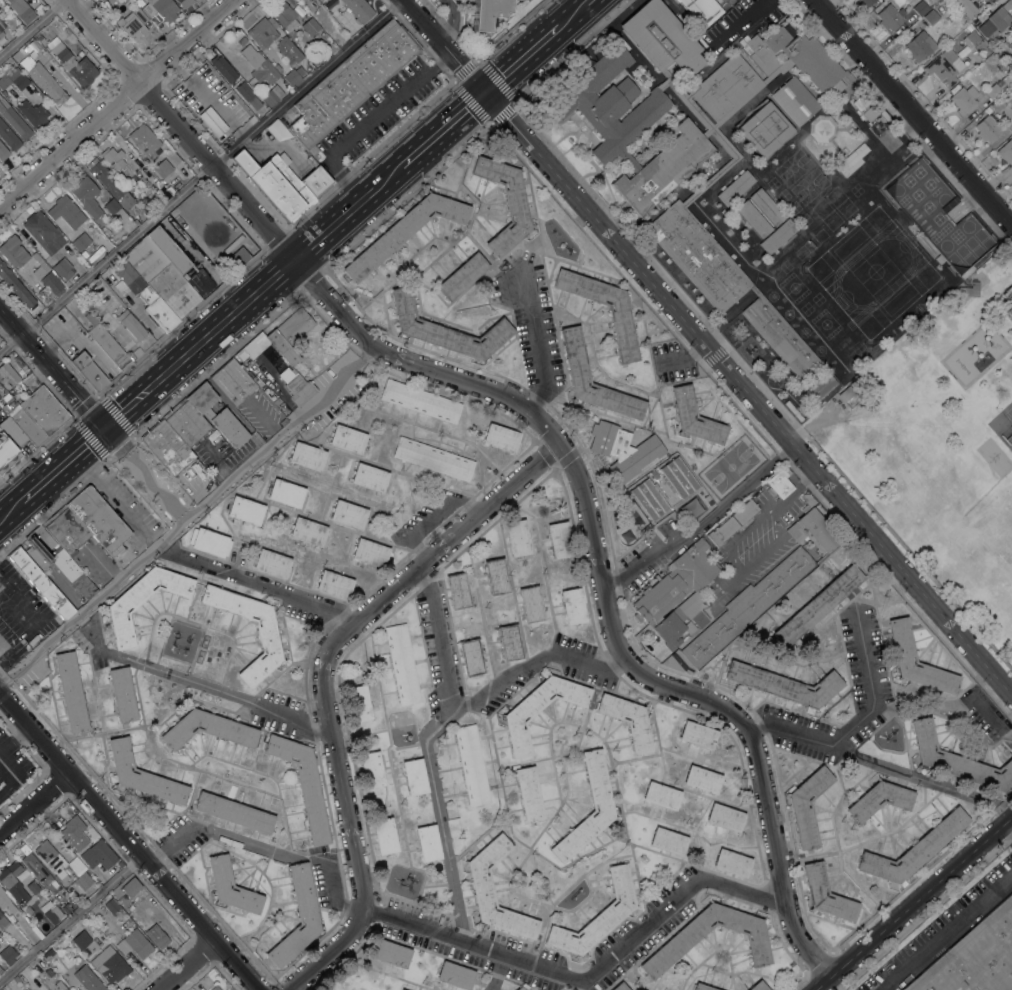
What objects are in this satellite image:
building: (101, 0)
building: (321, 0)
building: (858, 0)
building: (978, 0)
building: (179, 1)
building: (140, 2)
building: (867, 2)
building: (1007, 4)
building: (922, 7)
building: (965, 7)
building: (164, 9)
building: (358, 9)
building: (21, 10)
building: (702, 10)
building: (486, 13)
road: (573, 14)
building: (284, 15)
building: (890, 17)
building: (930, 18)
road: (742, 22)
building: (994, 23)
building: (133, 24)
building: (2, 25)
building: (56, 26)
road: (31, 27)
building: (310, 27)
building: (262, 33)
building: (972, 37)
building: (2, 38)
building: (661, 38)
building: (41, 39)
building: (239, 44)
building: (919, 46)
building: (31, 47)
building: (795, 58)
building: (291, 61)
road: (520, 61)
building: (72, 63)
building: (1000, 64)
building: (220, 65)
building: (259, 66)
building: (944, 67)
building: (778, 70)
building: (1009, 76)
building: (13, 79)
building: (694, 79)
building: (43, 80)
building: (351, 82)
building: (726, 89)
building: (995, 90)
building: (1008, 92)
building: (273, 96)
building: (964, 100)
building: (253, 101)
building: (794, 101)
building: (859, 102)
road: (117, 103)
building: (610, 104)
building: (999, 104)
building: (988, 111)
building: (32, 113)
building: (869, 113)
road: (914, 113)
building: (14, 120)
building: (212, 121)
road: (368, 122)
building: (987, 129)
road: (442, 130)
building: (764, 130)
building: (717, 136)
building: (8, 137)
building: (145, 142)
building: (1006, 151)
building: (3, 152)
building: (629, 160)
building: (851, 160)
building: (116, 163)
building: (162, 168)
building: (664, 168)
road: (197, 175)
road: (386, 178)
building: (110, 183)
building: (282, 184)
building: (735, 188)
building: (86, 196)
building: (146, 203)
building: (514, 203)
building: (189, 204)
building: (140, 206)
building: (766, 207)
building: (69, 210)
building: (115, 211)
building: (938, 217)
building: (64, 218)
building: (753, 219)
building: (209, 220)
road: (332, 225)
building: (404, 231)
building: (107, 232)
building: (43, 233)
building: (777, 236)
building: (81, 241)
building: (168, 250)
building: (13, 252)
building: (84, 254)
building: (698, 256)
building: (239, 257)
building: (37, 259)
building: (62, 269)
road: (274, 276)
building: (462, 276)
building: (15, 286)
building: (50, 287)
building: (970, 290)
building: (173, 291)
building: (754, 291)
building: (143, 296)
building: (1008, 301)
building: (131, 325)
building: (446, 330)
building: (622, 333)
building: (779, 336)
road: (206, 337)
building: (280, 338)
building: (107, 343)
road: (537, 346)
road: (706, 348)
building: (574, 356)
road: (686, 358)
road: (52, 368)
building: (88, 371)
building: (8, 376)
building: (233, 382)
building: (297, 386)
building: (820, 387)
building: (846, 394)
building: (420, 401)
road: (131, 405)
building: (43, 410)
building: (283, 410)
building: (792, 411)
park: (1008, 414)
building: (216, 416)
building: (694, 417)
building: (22, 422)
building: (185, 425)
road: (545, 426)
building: (12, 433)
building: (500, 438)
building: (347, 439)
park: (940, 442)
road: (88, 444)
building: (166, 448)
building: (622, 450)
building: (306, 456)
building: (432, 459)
road: (144, 475)
building: (369, 478)
building: (678, 478)
road: (48, 480)
building: (779, 483)
building: (286, 493)
building: (649, 498)
road: (114, 502)
building: (245, 511)
road: (12, 512)
building: (745, 512)
building: (348, 515)
road: (189, 516)
building: (98, 520)
road: (700, 524)
building: (812, 527)
building: (66, 531)
building: (722, 531)
building: (307, 532)
building: (517, 538)
building: (559, 540)
building: (209, 542)
building: (370, 553)
building: (56, 560)
building: (272, 563)
building: (496, 576)
road: (255, 583)
building: (40, 584)
building: (334, 584)
building: (674, 587)
building: (457, 591)
building: (142, 601)
building: (530, 605)
building: (817, 606)
building: (572, 607)
building: (739, 612)
building: (693, 613)
road: (33, 630)
building: (671, 631)
building: (267, 637)
road: (95, 638)
building: (900, 641)
building: (509, 643)
building: (655, 649)
building: (471, 658)
building: (402, 664)
road: (185, 679)
road: (321, 683)
building: (784, 685)
building: (70, 692)
building: (122, 695)
road: (477, 698)
building: (358, 703)
road: (943, 703)
building: (538, 710)
road: (290, 716)
building: (627, 721)
road: (858, 721)
building: (207, 730)
building: (697, 735)
building: (956, 760)
building: (471, 765)
road: (893, 769)
building: (371, 770)
road: (10, 771)
building: (141, 775)
building: (414, 777)
building: (702, 780)
building: (596, 781)
building: (303, 785)
building: (528, 794)
building: (661, 796)
building: (879, 800)
road: (34, 801)
building: (806, 806)
building: (53, 812)
building: (233, 813)
building: (725, 817)
road: (438, 818)
road: (1008, 826)
building: (384, 836)
building: (76, 837)
road: (128, 840)
building: (668, 842)
building: (427, 843)
road: (264, 846)
building: (912, 850)
building: (97, 855)
building: (52, 860)
building: (732, 863)
building: (35, 866)
building: (76, 866)
building: (82, 881)
building: (13, 883)
building: (33, 887)
building: (130, 887)
building: (231, 887)
building: (481, 888)
building: (60, 889)
building: (825, 894)
building: (6, 902)
road: (912, 902)
building: (111, 906)
building: (28, 911)
building: (53, 915)
building: (597, 916)
building: (297, 917)
road: (71, 919)
building: (3, 922)
road: (948, 932)
building: (153, 933)
building: (80, 940)
building: (134, 946)
building: (672, 949)
building: (391, 954)
building: (7, 955)
building: (48, 955)
building: (974, 957)
building: (110, 965)
road: (186, 965)
building: (0, 970)
building: (49, 972)
road: (496, 972)
building: (455, 975)
building: (15, 980)
road: (591, 980)
building: (91, 982)
building: (60, 985)
building: (758, 986)
building: (620, 987)
building: (701, 987)
building: (214, 988)
building: (519, 988)

